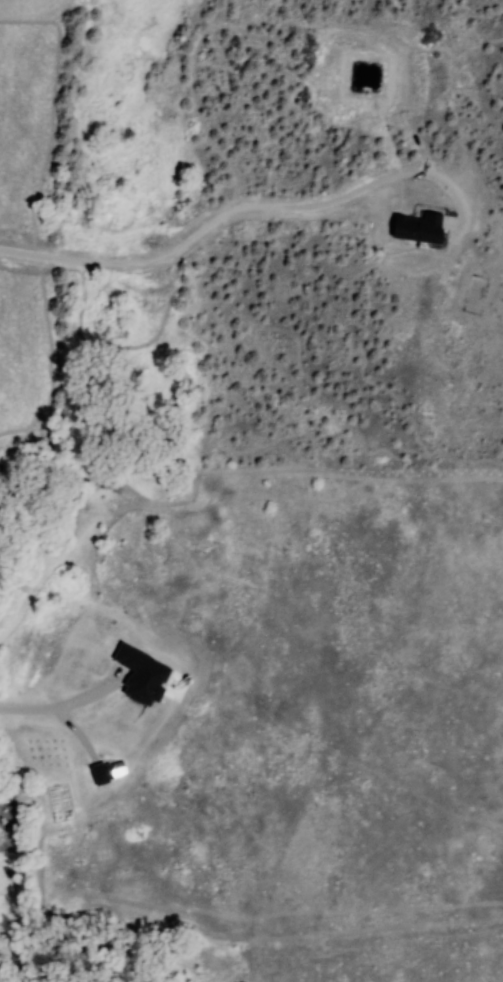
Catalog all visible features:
road: (240, 210)
road: (55, 707)

